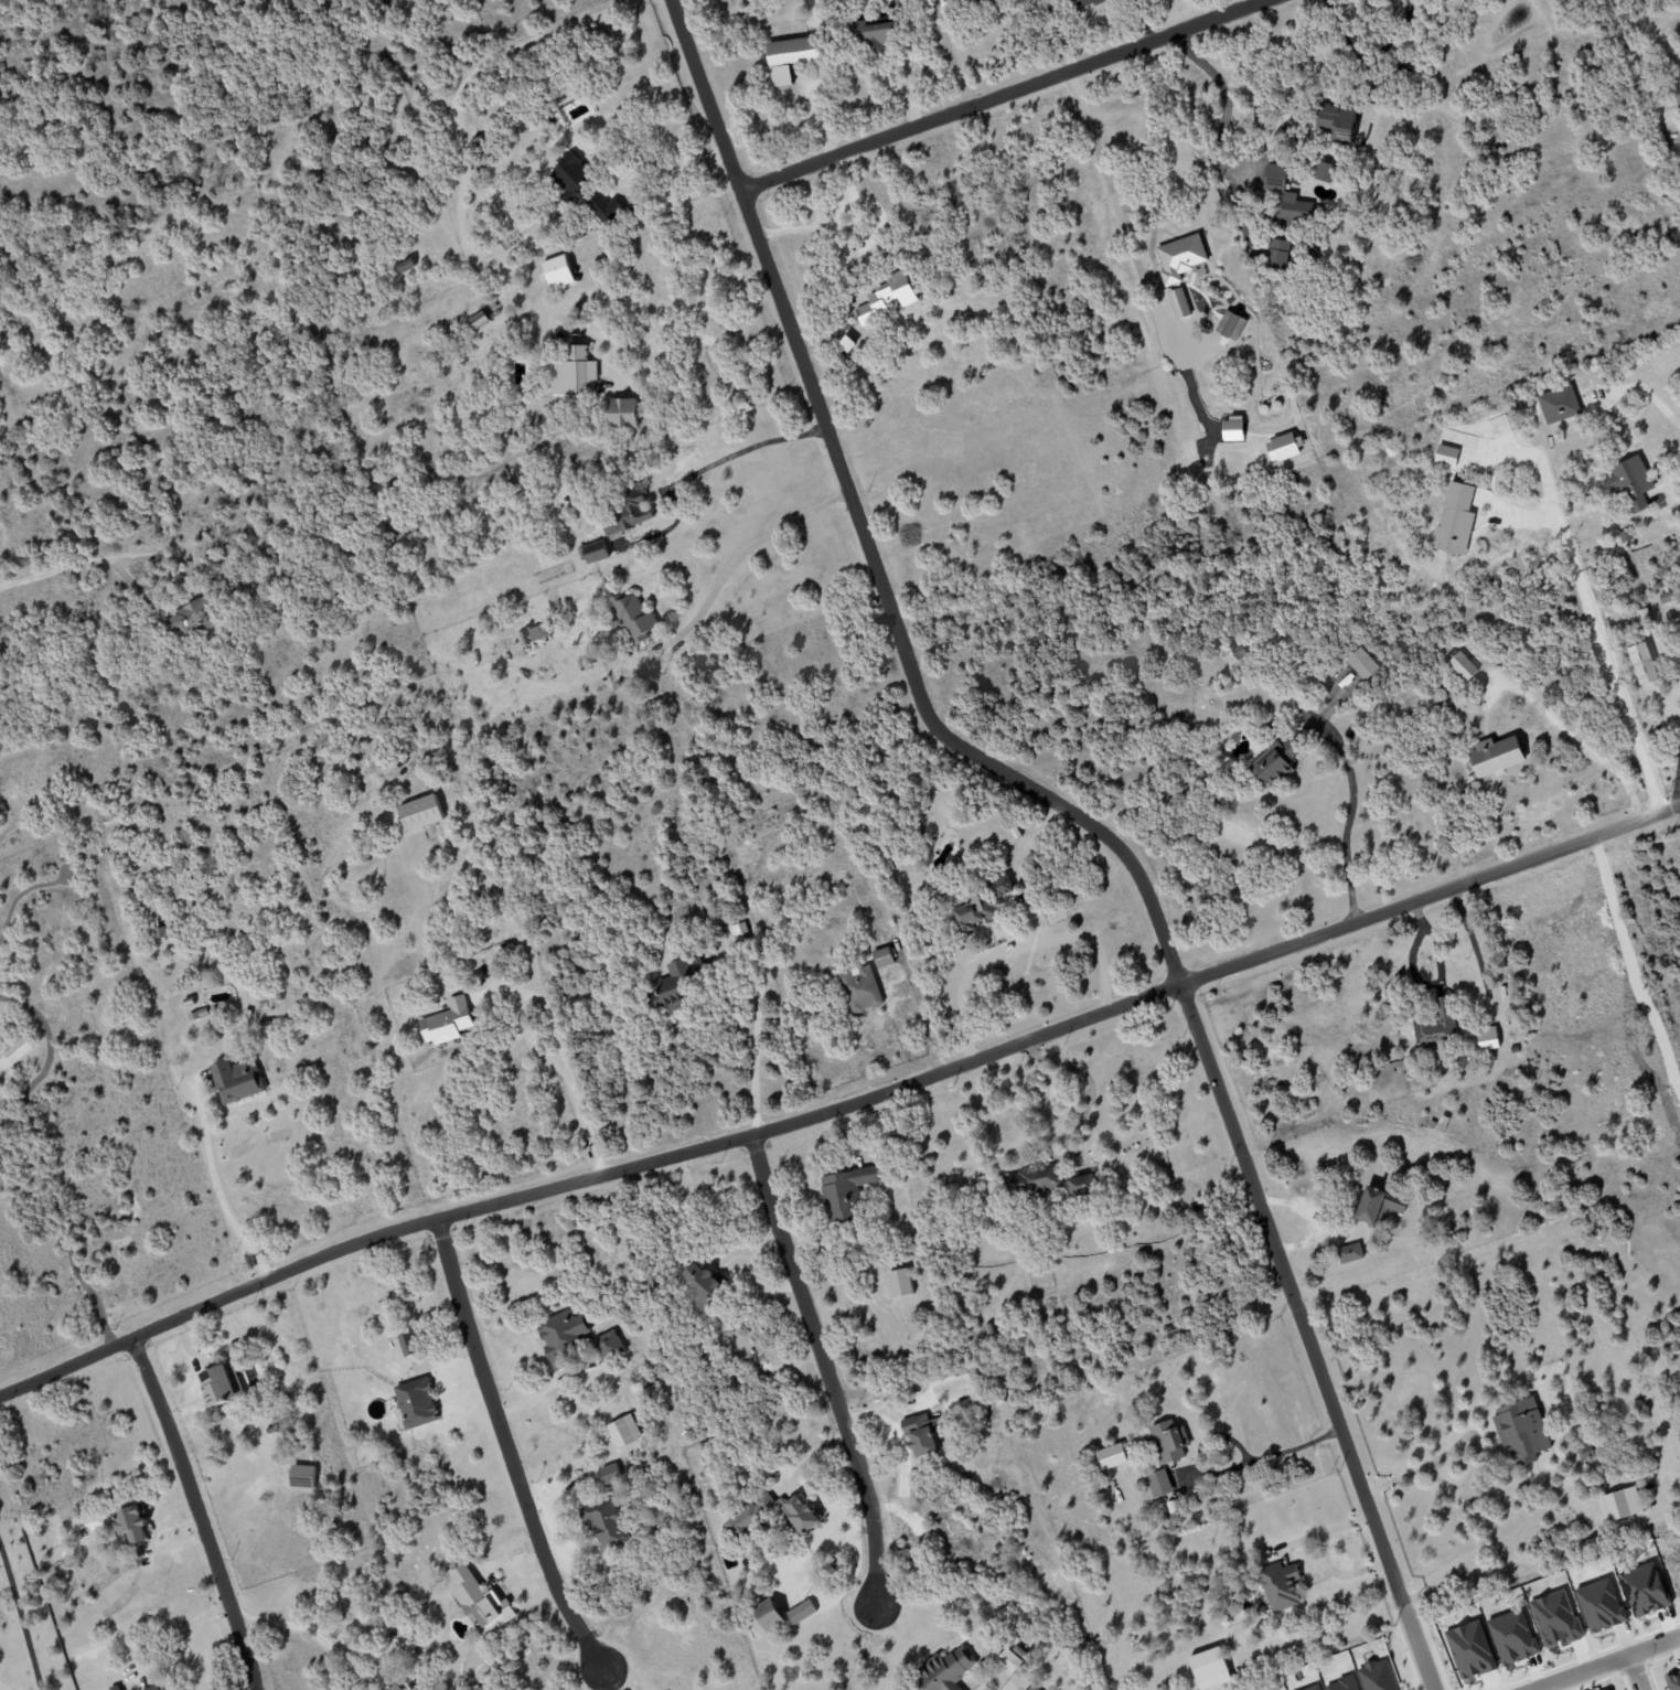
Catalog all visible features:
building: (1085, 2)
building: (873, 34)
road: (1367, 54)
building: (790, 57)
road: (834, 73)
building: (1678, 90)
road: (1004, 96)
building: (1336, 121)
road: (1221, 130)
building: (483, 160)
building: (1325, 172)
building: (1274, 178)
building: (582, 189)
road: (845, 191)
building: (1294, 208)
road: (1122, 213)
road: (827, 224)
building: (1277, 254)
building: (1179, 257)
building: (405, 265)
building: (558, 271)
building: (887, 298)
road: (704, 303)
building: (1178, 303)
building: (478, 320)
building: (1230, 324)
building: (846, 344)
building: (573, 373)
building: (1558, 404)
building: (623, 413)
building: (1232, 428)
building: (1282, 447)
road: (698, 472)
building: (1630, 483)
road: (1666, 485)
building: (623, 516)
road: (741, 548)
building: (593, 552)
road: (76, 563)
building: (1665, 597)
building: (191, 618)
building: (633, 618)
building: (539, 632)
road: (1597, 640)
building: (1238, 652)
building: (1362, 663)
building: (1641, 663)
building: (1462, 665)
road: (1574, 734)
building: (1495, 756)
building: (1275, 764)
road: (1678, 787)
building: (3, 806)
building: (424, 811)
road: (1349, 815)
road: (1081, 817)
building: (809, 875)
building: (839, 886)
building: (980, 905)
building: (738, 929)
building: (163, 932)
road: (1470, 938)
road: (1015, 944)
building: (881, 958)
building: (672, 983)
road: (1440, 983)
building: (858, 988)
building: (220, 1007)
building: (250, 1013)
building: (202, 1014)
building: (451, 1020)
building: (1435, 1024)
building: (1485, 1037)
road: (756, 1040)
building: (18, 1049)
road: (568, 1072)
building: (239, 1080)
road: (1091, 1083)
building: (1425, 1092)
road: (839, 1106)
building: (1442, 1123)
building: (1432, 1124)
building: (890, 1144)
road: (597, 1159)
building: (1045, 1183)
building: (844, 1192)
road: (220, 1196)
building: (1377, 1207)
building: (867, 1248)
building: (1349, 1252)
building: (900, 1283)
building: (703, 1285)
building: (988, 1329)
building: (564, 1336)
building: (409, 1344)
building: (611, 1346)
road: (824, 1368)
building: (648, 1382)
building: (223, 1383)
building: (624, 1392)
building: (420, 1403)
building: (274, 1429)
building: (1520, 1430)
building: (623, 1431)
building: (923, 1433)
building: (686, 1434)
building: (281, 1436)
building: (1166, 1440)
road: (1466, 1442)
building: (283, 1444)
road: (507, 1448)
building: (1585, 1453)
building: (1111, 1456)
road: (1261, 1456)
building: (612, 1474)
building: (302, 1476)
building: (1155, 1485)
building: (1102, 1488)
building: (1618, 1505)
building: (1171, 1508)
road: (199, 1513)
building: (751, 1517)
building: (1160, 1519)
building: (609, 1522)
building: (135, 1525)
road: (1574, 1544)
building: (1265, 1552)
building: (1278, 1585)
building: (1644, 1587)
building: (484, 1600)
building: (1598, 1603)
road: (932, 1605)
building: (801, 1612)
building: (1259, 1612)
building: (768, 1614)
building: (1555, 1617)
road: (19, 1618)
road: (297, 1625)
building: (1511, 1636)
building: (1469, 1648)
building: (1020, 1650)
building: (1008, 1660)
road: (1605, 1662)
building: (1208, 1665)
building: (945, 1670)
road: (1637, 1672)
building: (1672, 1680)
building: (118, 1688)
building: (157, 1688)
building: (398, 1688)
building: (1031, 1688)
building: (1606, 1689)

